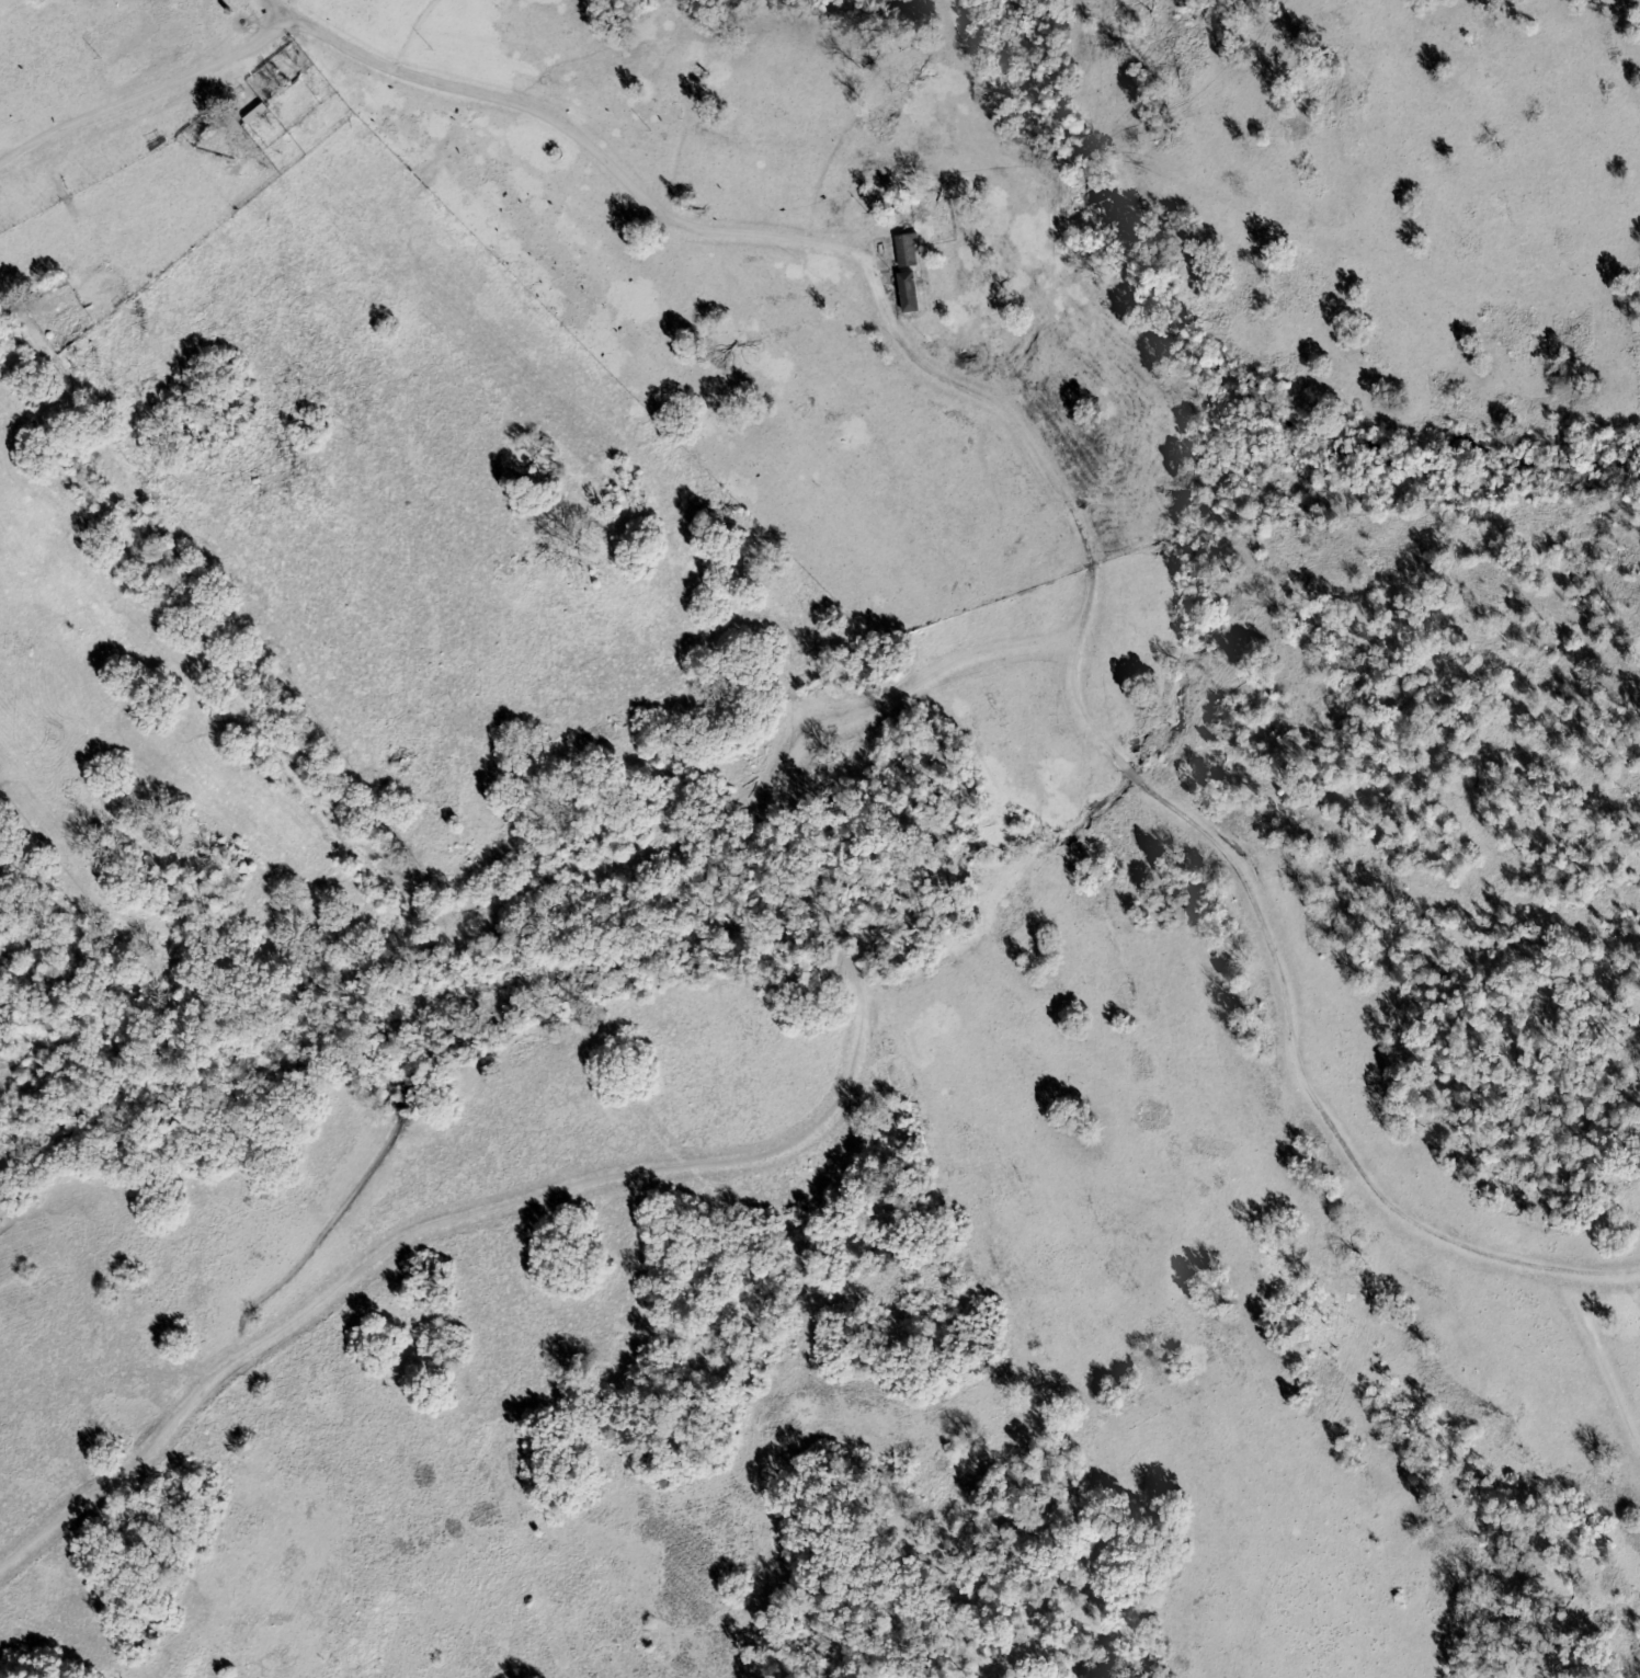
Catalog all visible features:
road: (278, 5)
road: (437, 82)
building: (908, 251)
building: (910, 292)

